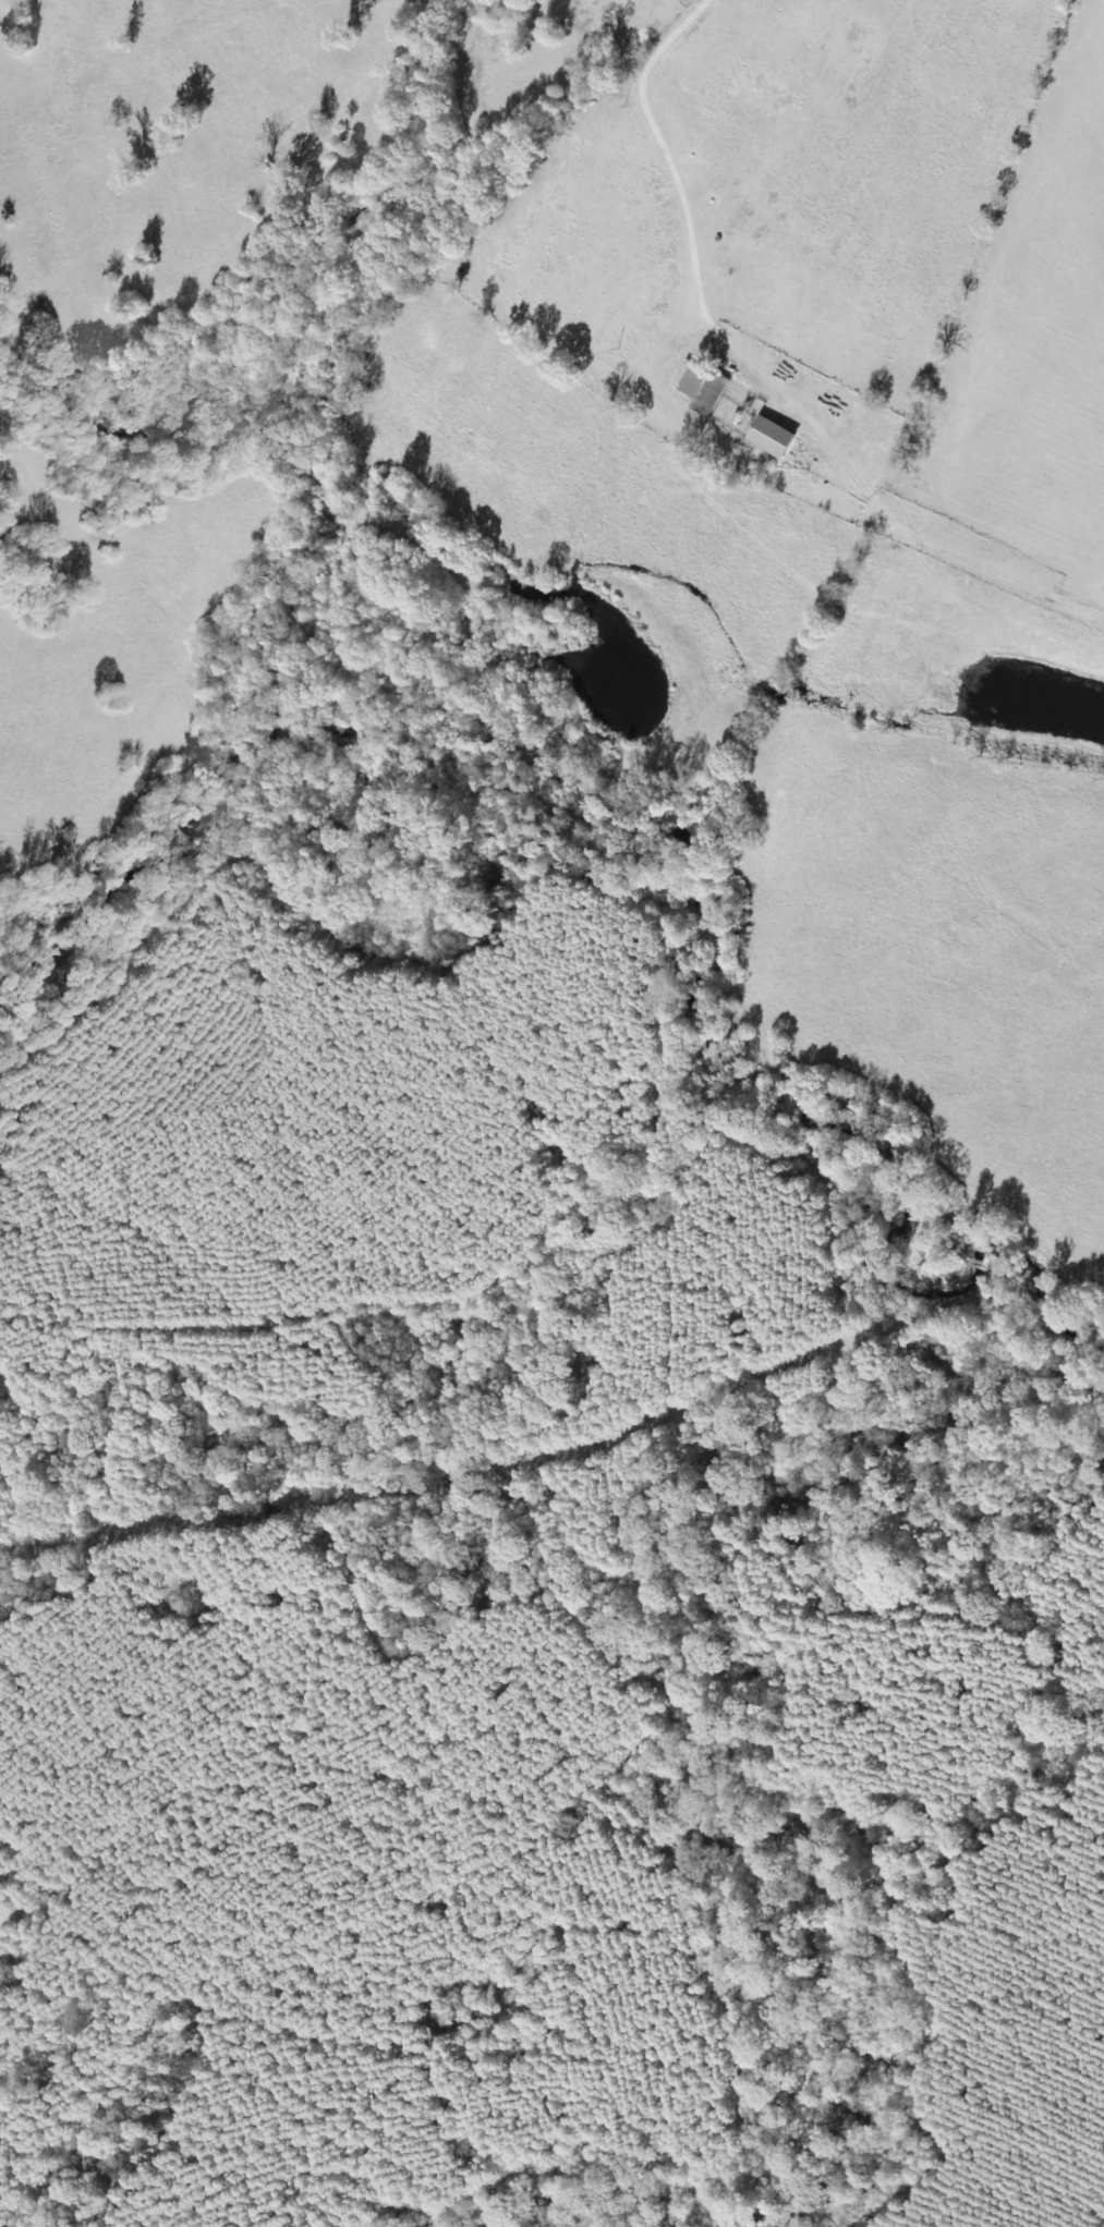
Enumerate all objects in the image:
road: (816, 388)
building: (771, 439)

